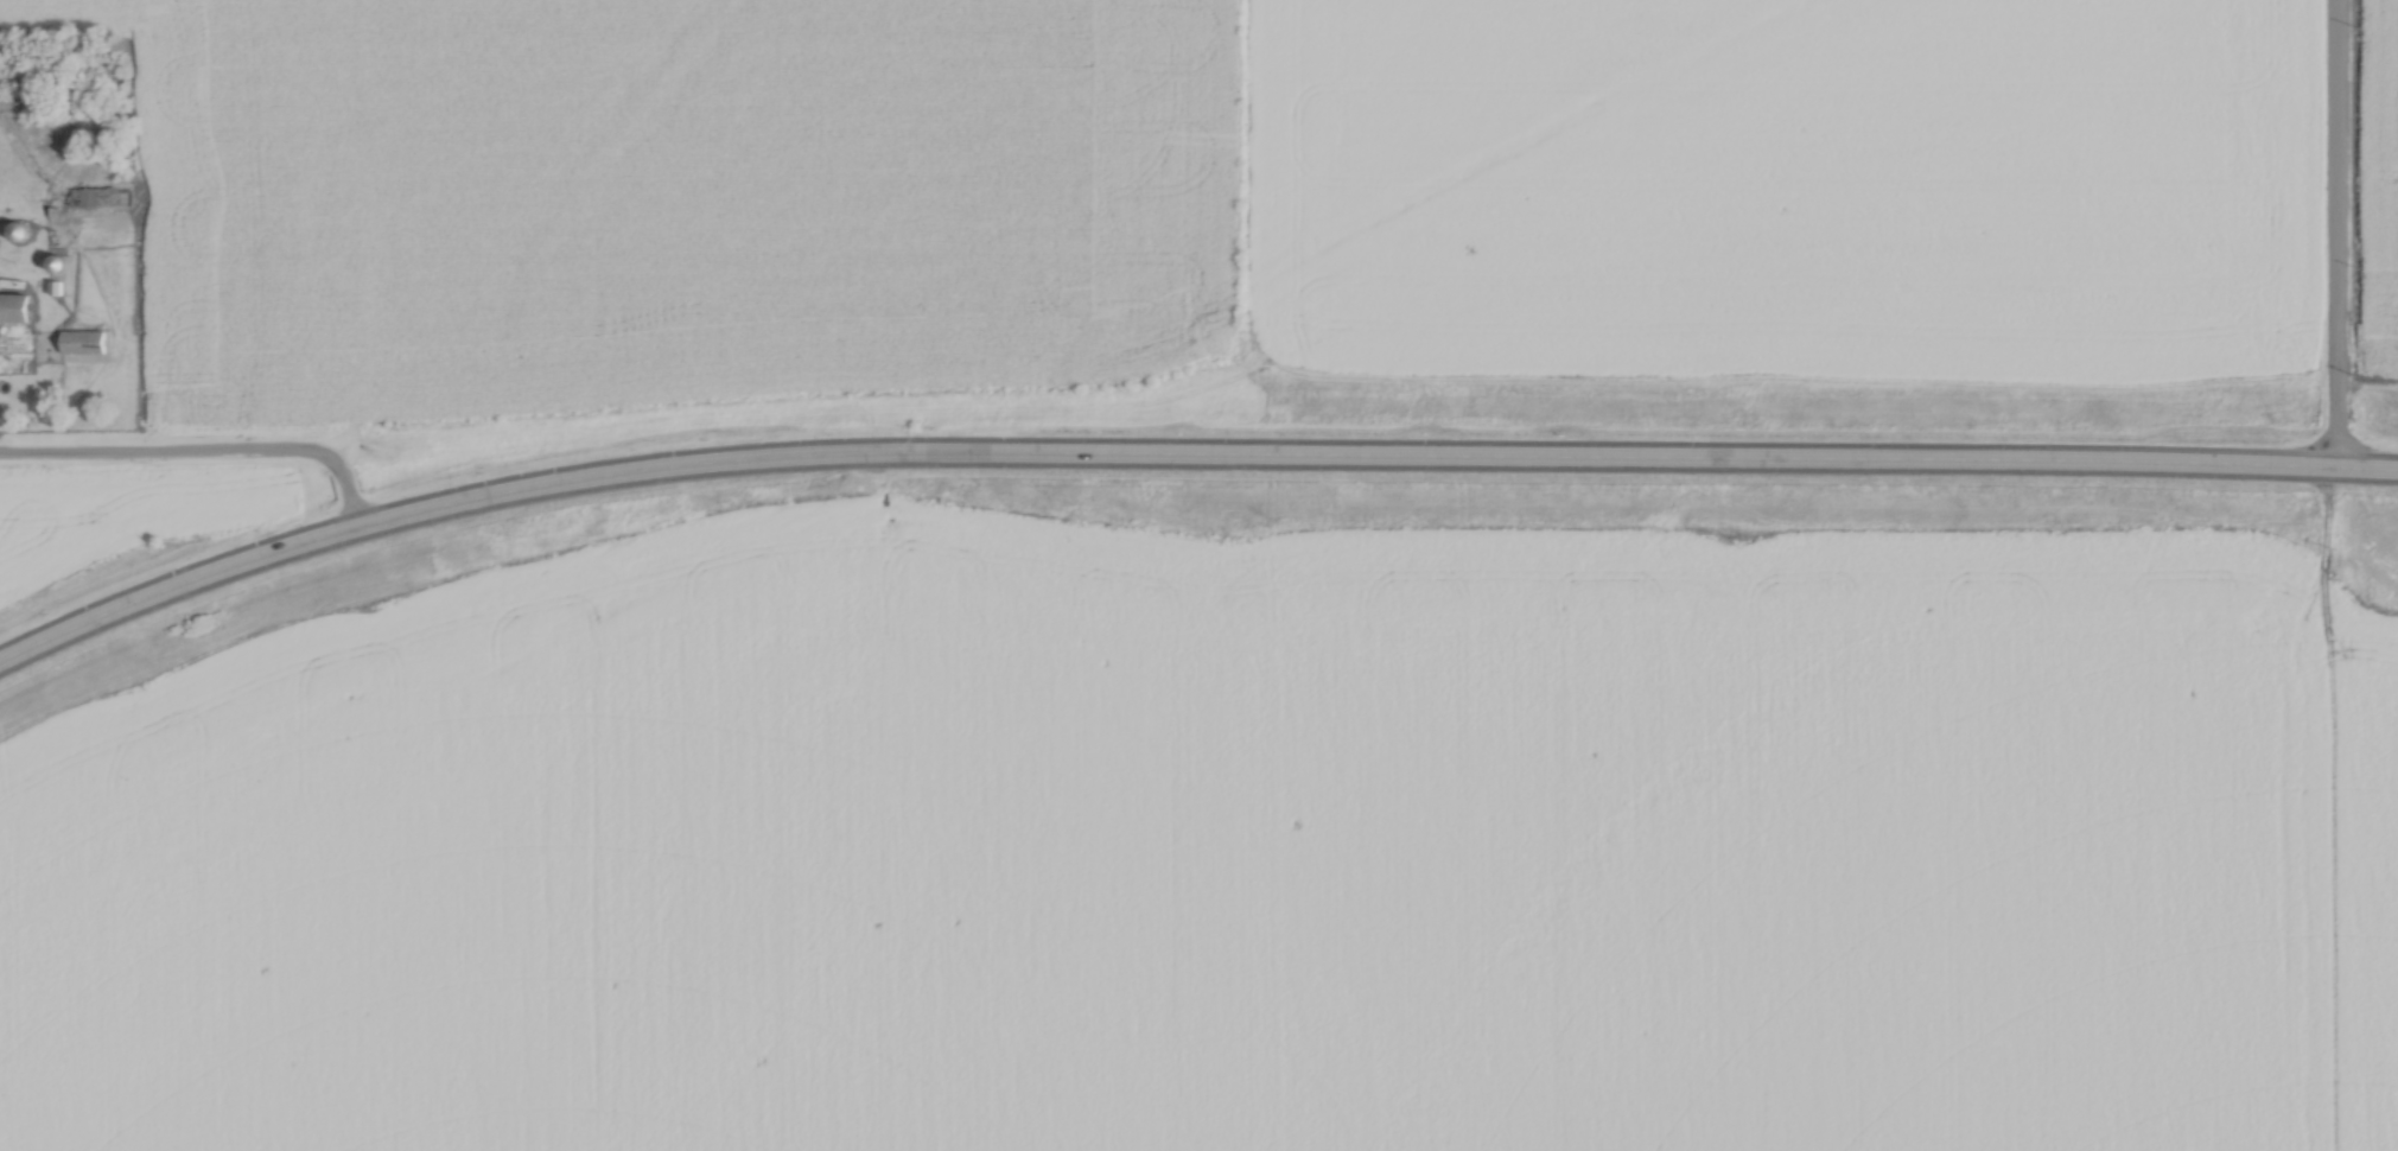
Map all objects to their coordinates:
building: (91, 192)
building: (15, 227)
road: (2332, 235)
building: (14, 310)
building: (82, 337)
road: (202, 453)
road: (1183, 459)

